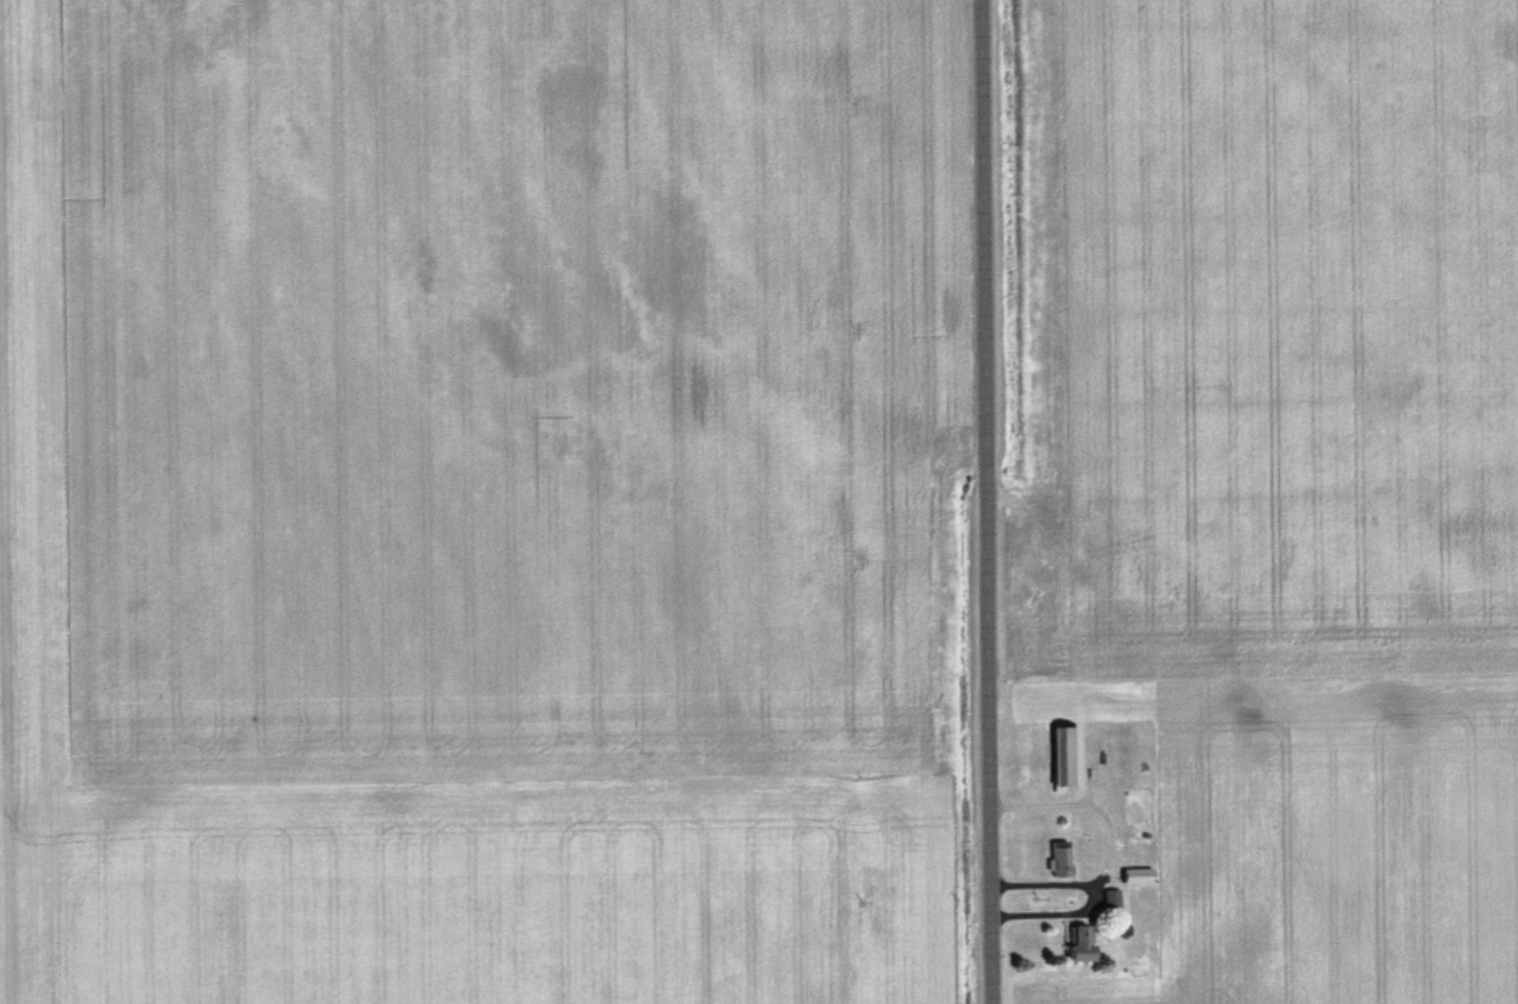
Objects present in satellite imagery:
road: (989, 501)
building: (1067, 754)
building: (1061, 856)
building: (1112, 897)
building: (1084, 942)

